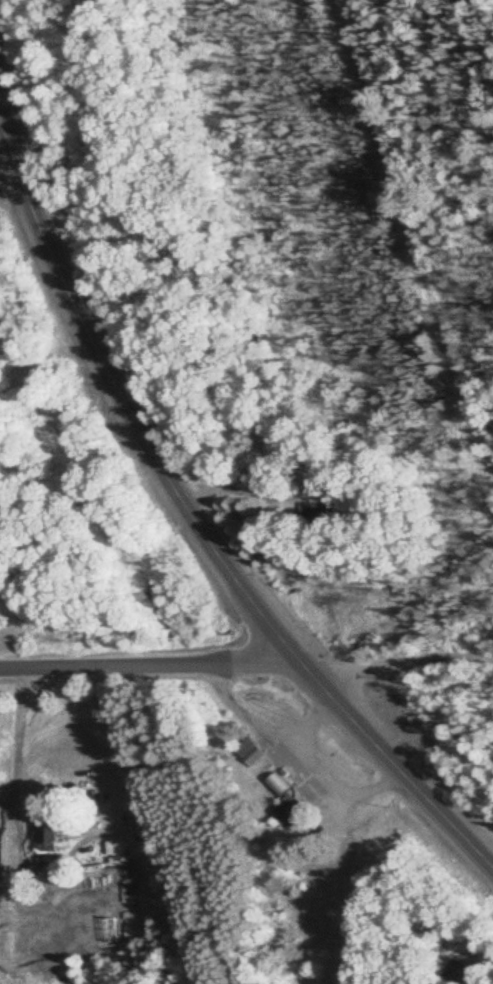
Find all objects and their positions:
building: (323, 486)
road: (198, 516)
building: (322, 520)
road: (397, 657)
road: (151, 664)
road: (316, 715)
road: (303, 742)
building: (251, 752)
building: (281, 785)
building: (293, 811)
building: (50, 836)

